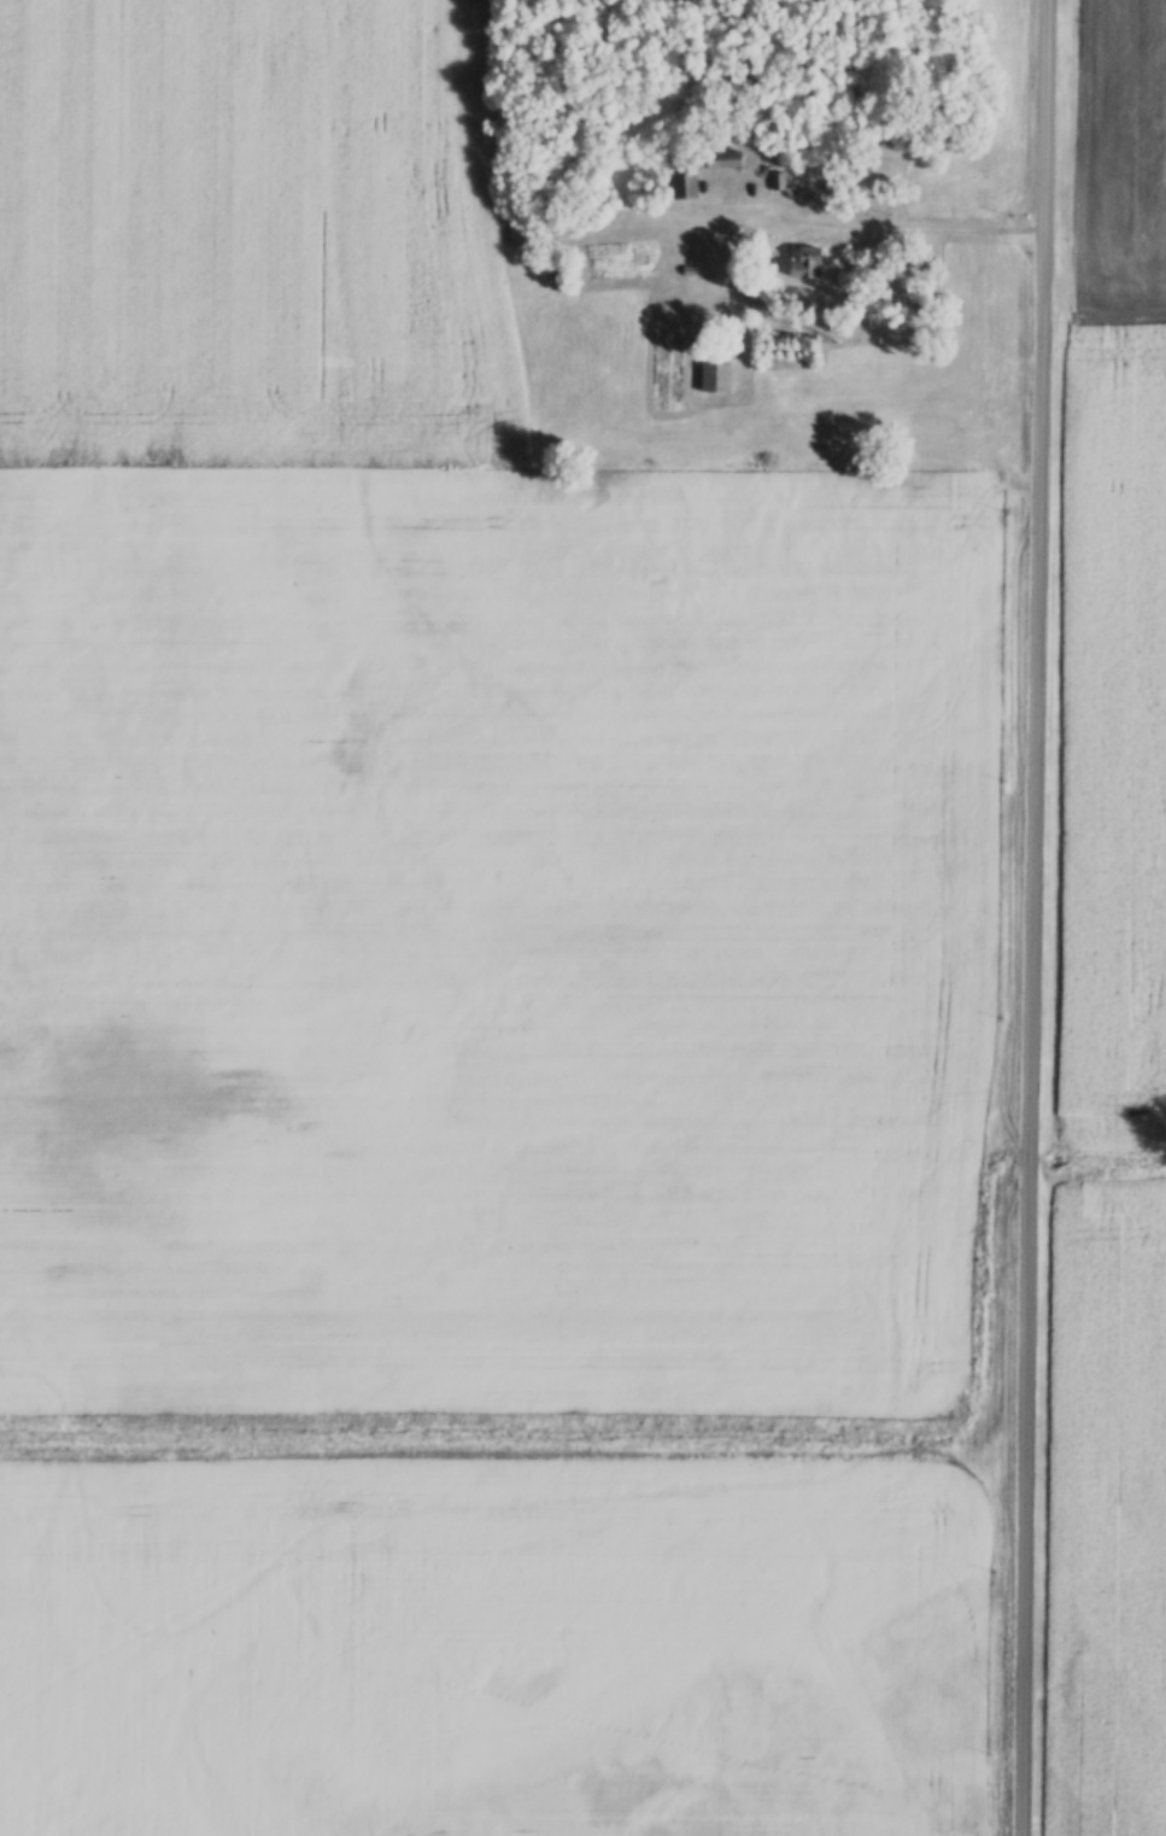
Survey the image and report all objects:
building: (723, 160)
building: (686, 186)
building: (807, 265)
building: (717, 379)
road: (1036, 918)

